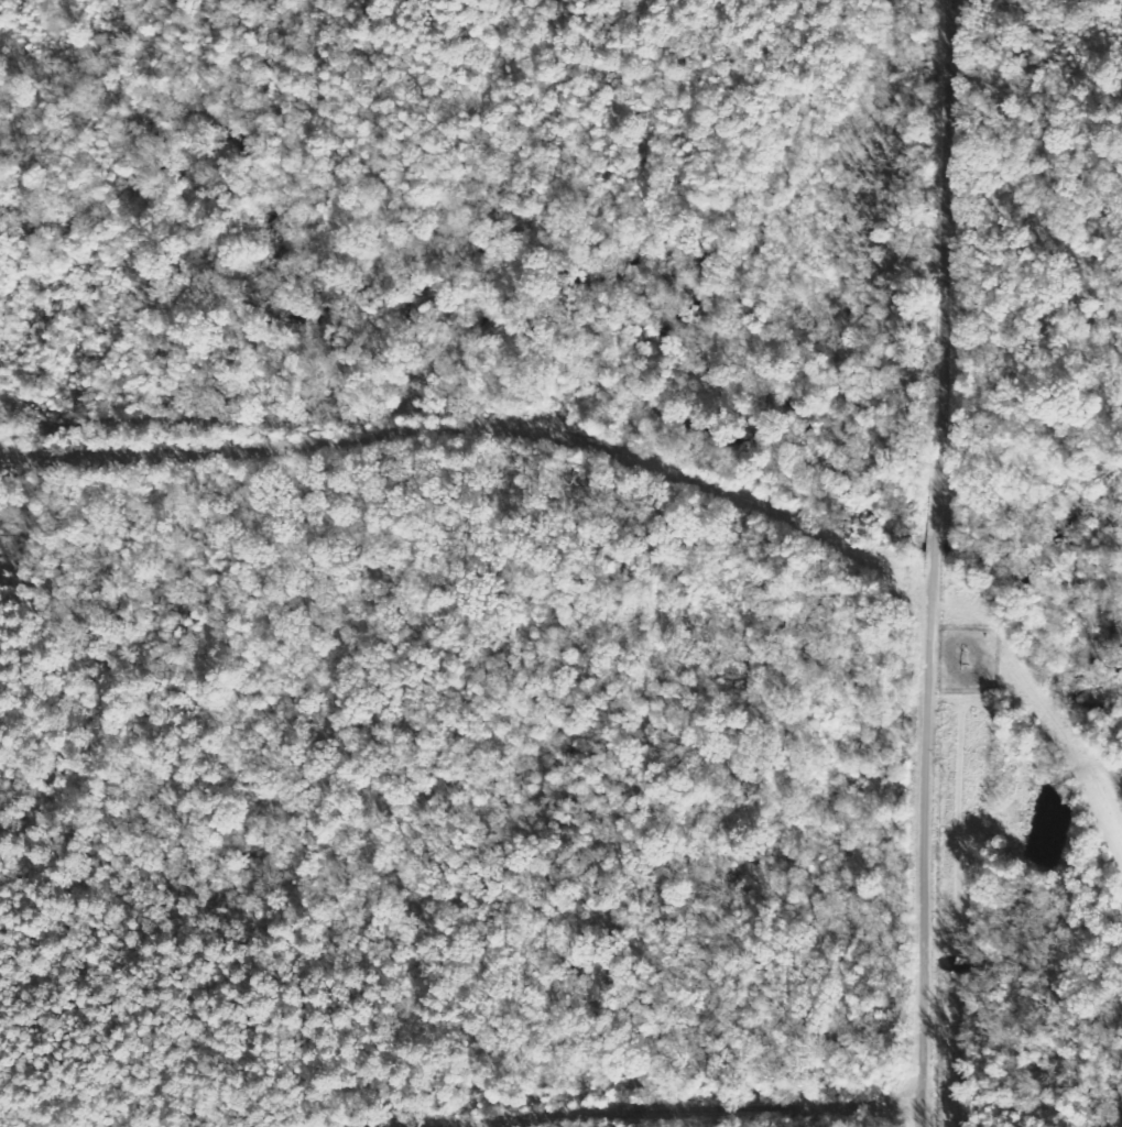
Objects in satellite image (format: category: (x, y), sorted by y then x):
road: (930, 563)

